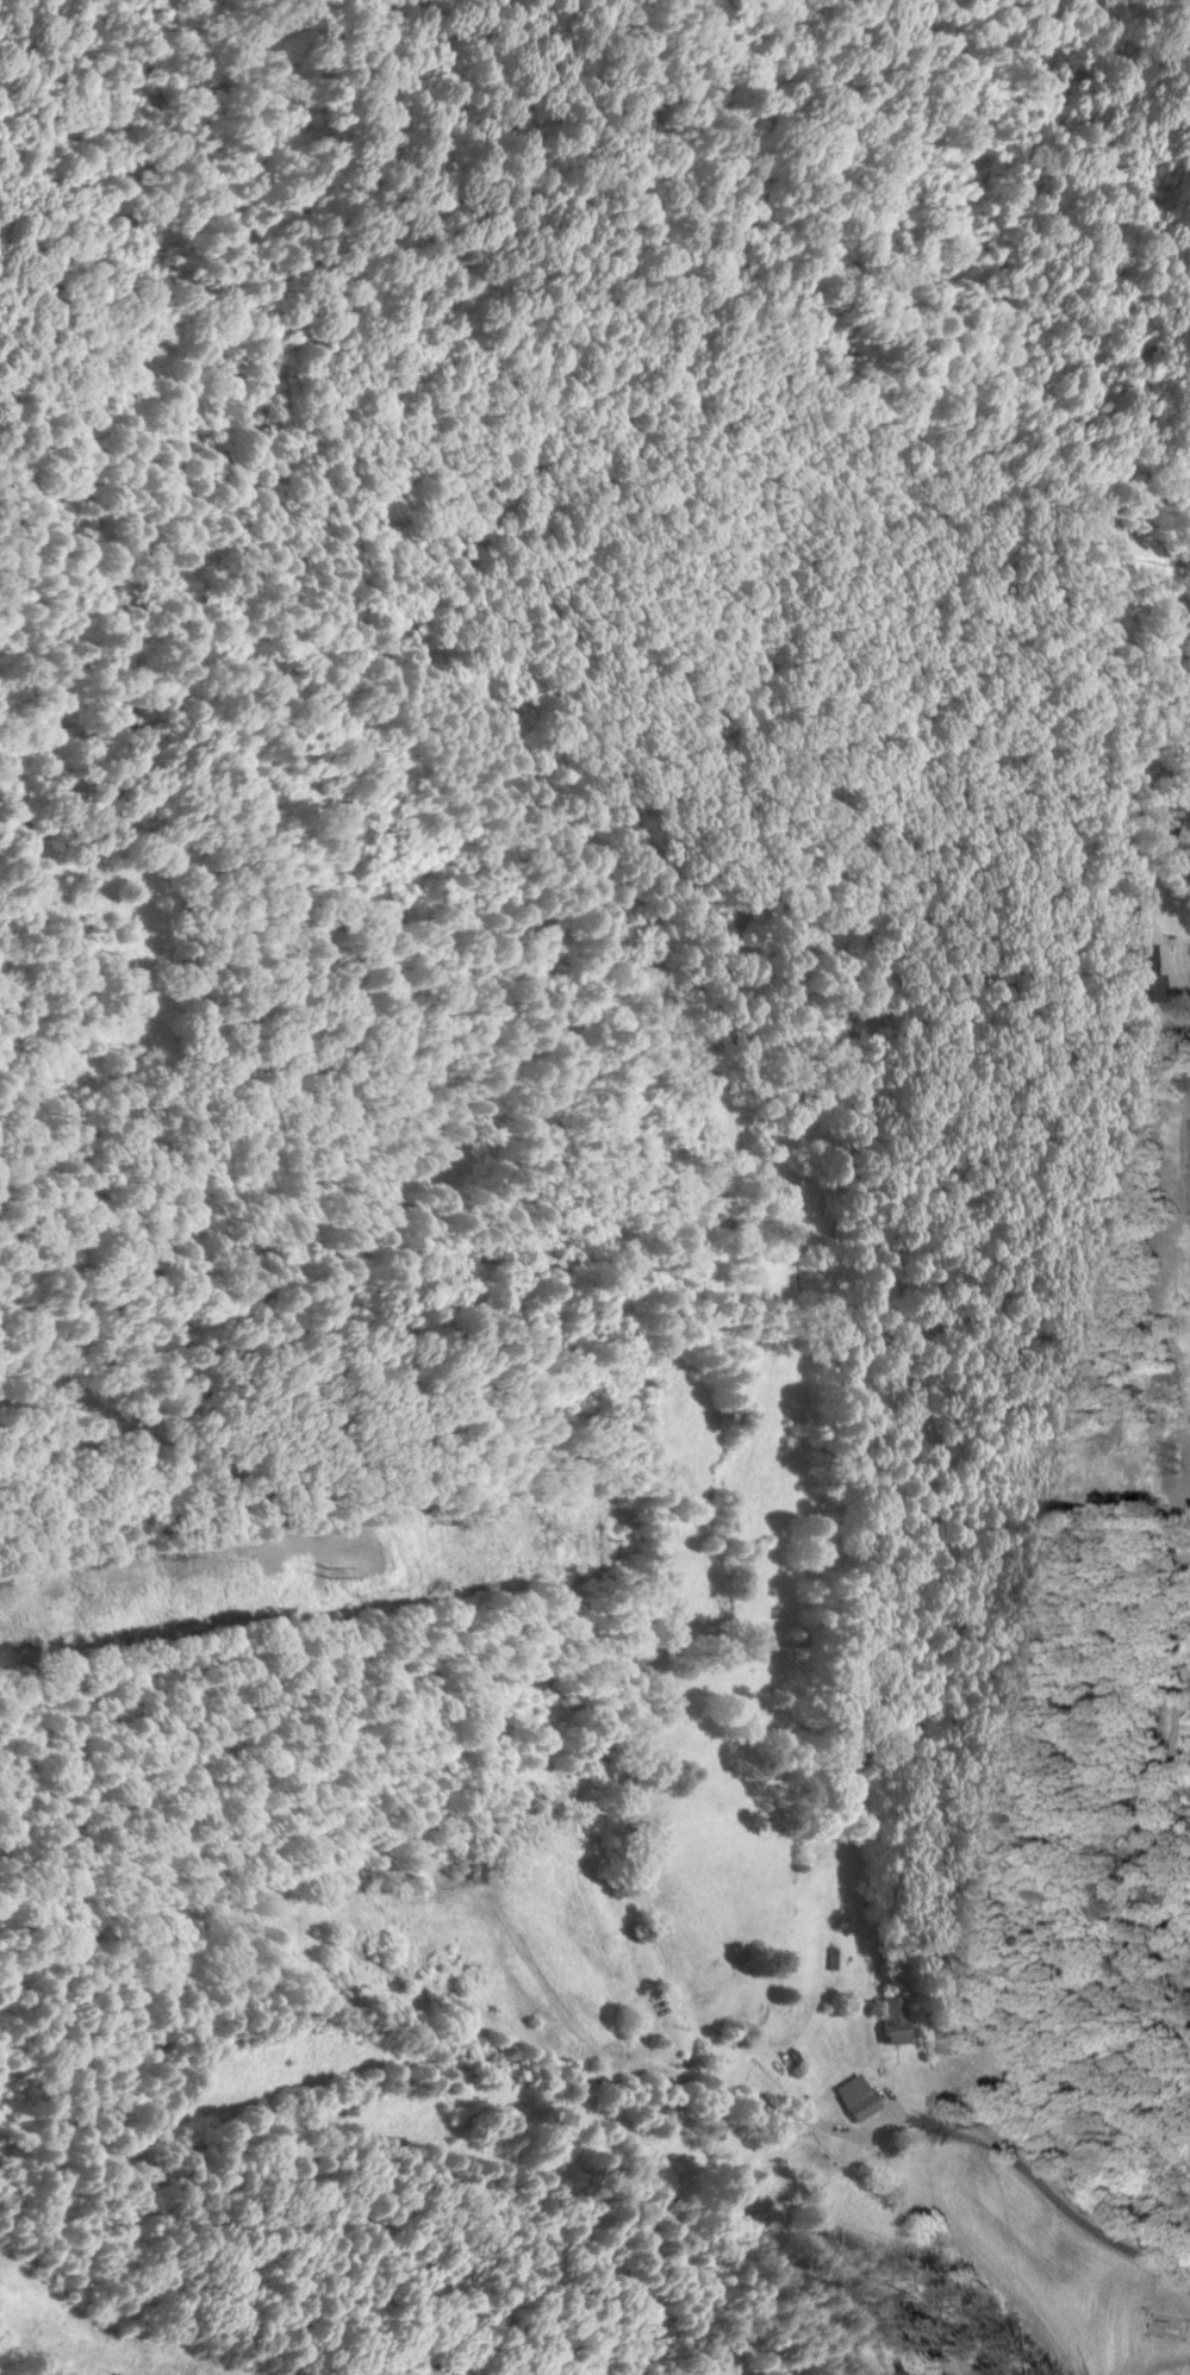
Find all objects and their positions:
power tower: (1177, 1465)
power tower: (294, 1578)
building: (897, 2020)
building: (859, 2099)
road: (1076, 2214)

